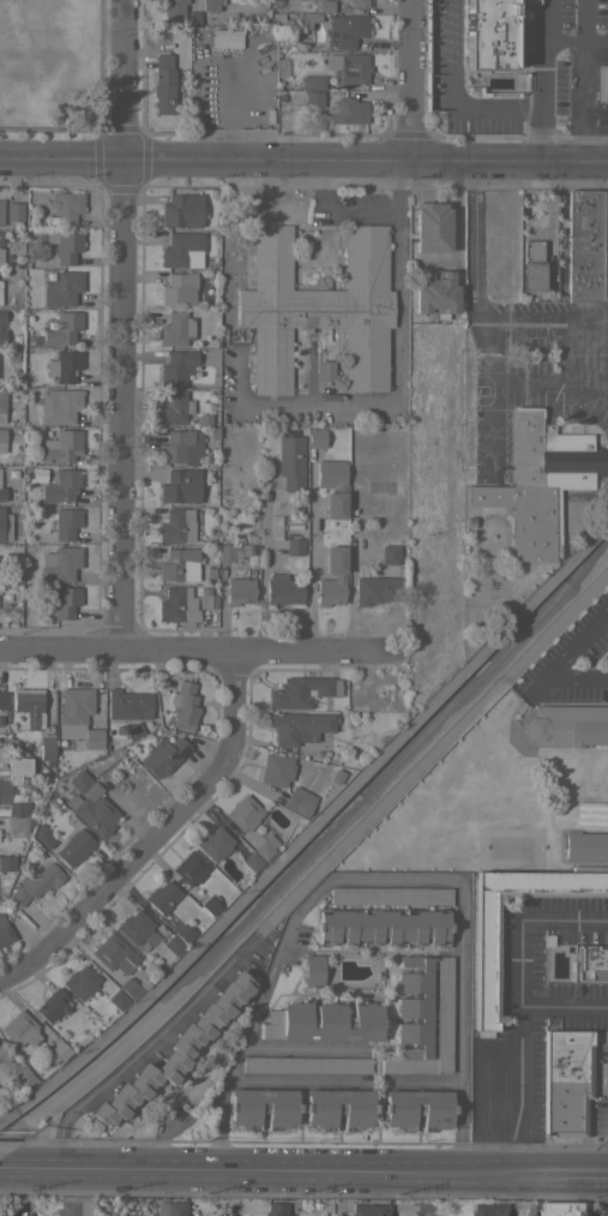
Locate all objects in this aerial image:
building: (360, 2)
building: (210, 6)
building: (173, 10)
building: (317, 12)
building: (277, 19)
building: (347, 30)
building: (487, 35)
road: (574, 40)
building: (526, 61)
building: (347, 67)
building: (312, 82)
road: (408, 82)
road: (541, 82)
building: (601, 82)
building: (163, 84)
building: (481, 94)
road: (452, 96)
building: (313, 98)
road: (574, 102)
building: (347, 110)
road: (591, 131)
road: (303, 163)
road: (339, 205)
building: (66, 209)
building: (181, 210)
building: (0, 211)
building: (13, 211)
building: (432, 227)
road: (536, 232)
building: (586, 245)
building: (65, 246)
building: (182, 250)
building: (0, 251)
building: (559, 256)
building: (531, 265)
building: (61, 288)
building: (179, 289)
building: (435, 292)
road: (474, 306)
building: (319, 307)
building: (2, 316)
road: (119, 325)
building: (60, 329)
building: (175, 329)
building: (1, 336)
road: (398, 364)
building: (64, 365)
building: (177, 366)
building: (325, 370)
road: (560, 384)
building: (1, 405)
building: (59, 405)
building: (174, 407)
building: (315, 438)
building: (1, 441)
building: (62, 444)
building: (181, 447)
building: (290, 461)
building: (538, 481)
building: (61, 486)
building: (182, 486)
building: (332, 486)
building: (2, 493)
building: (65, 523)
building: (5, 526)
building: (175, 526)
building: (294, 546)
building: (225, 551)
building: (61, 564)
building: (179, 564)
road: (263, 564)
road: (308, 571)
building: (331, 579)
building: (380, 579)
building: (283, 589)
building: (239, 591)
building: (61, 601)
building: (207, 601)
building: (176, 605)
road: (197, 652)
road: (560, 658)
building: (302, 691)
building: (2, 700)
building: (29, 705)
building: (128, 705)
building: (182, 705)
building: (73, 707)
building: (566, 725)
building: (299, 726)
building: (1, 727)
building: (92, 738)
building: (46, 748)
building: (162, 755)
building: (18, 766)
building: (276, 769)
building: (84, 784)
building: (12, 799)
building: (299, 801)
building: (508, 808)
building: (588, 810)
building: (243, 813)
building: (92, 814)
building: (18, 823)
building: (42, 835)
road: (157, 835)
building: (213, 844)
building: (74, 846)
building: (265, 847)
building: (585, 847)
building: (252, 861)
building: (7, 863)
building: (189, 868)
building: (35, 881)
building: (162, 895)
building: (390, 895)
building: (210, 904)
road: (296, 910)
building: (134, 927)
building: (381, 927)
building: (5, 932)
building: (182, 933)
building: (171, 945)
building: (114, 953)
building: (486, 959)
road: (522, 963)
building: (591, 963)
building: (313, 970)
building: (79, 982)
building: (127, 988)
building: (116, 999)
building: (52, 1005)
building: (421, 1017)
building: (324, 1022)
road: (459, 1024)
building: (19, 1029)
road: (139, 1046)
road: (301, 1049)
building: (58, 1050)
building: (174, 1050)
building: (306, 1065)
building: (23, 1077)
road: (343, 1079)
building: (565, 1080)
road: (519, 1088)
building: (416, 1107)
building: (263, 1108)
building: (338, 1108)
road: (213, 1119)
road: (1, 1164)
road: (6, 1167)
road: (271, 1167)
road: (573, 1172)
building: (74, 1208)
building: (562, 1208)
building: (171, 1209)
building: (276, 1209)
building: (489, 1209)
building: (371, 1210)

